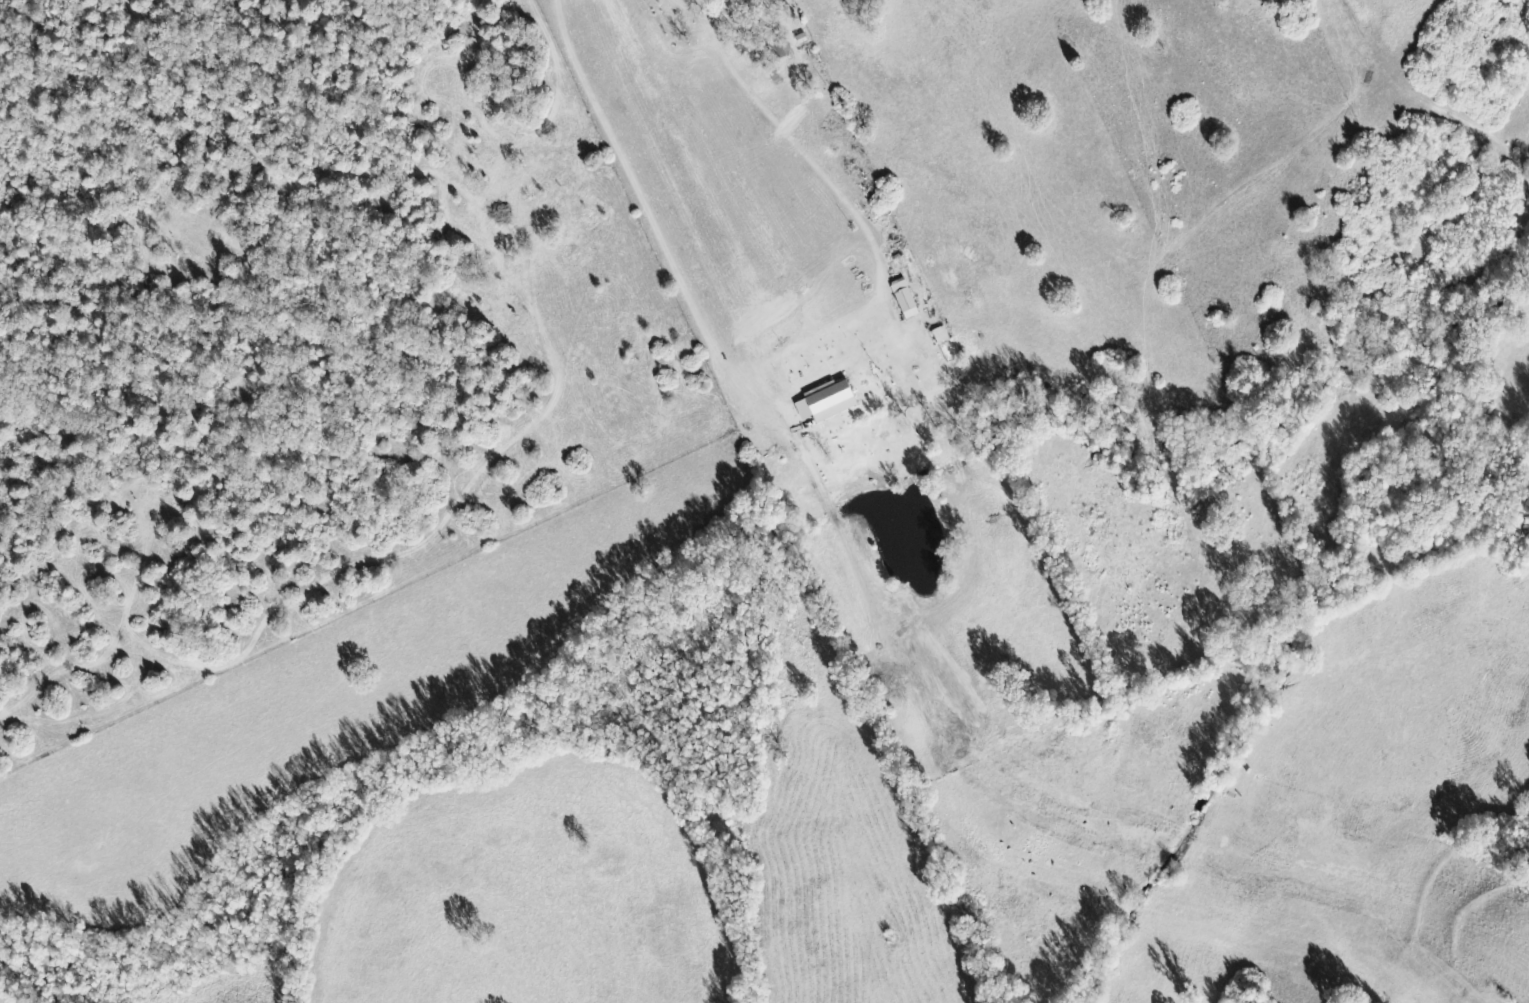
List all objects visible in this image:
building: (908, 300)
building: (835, 401)

